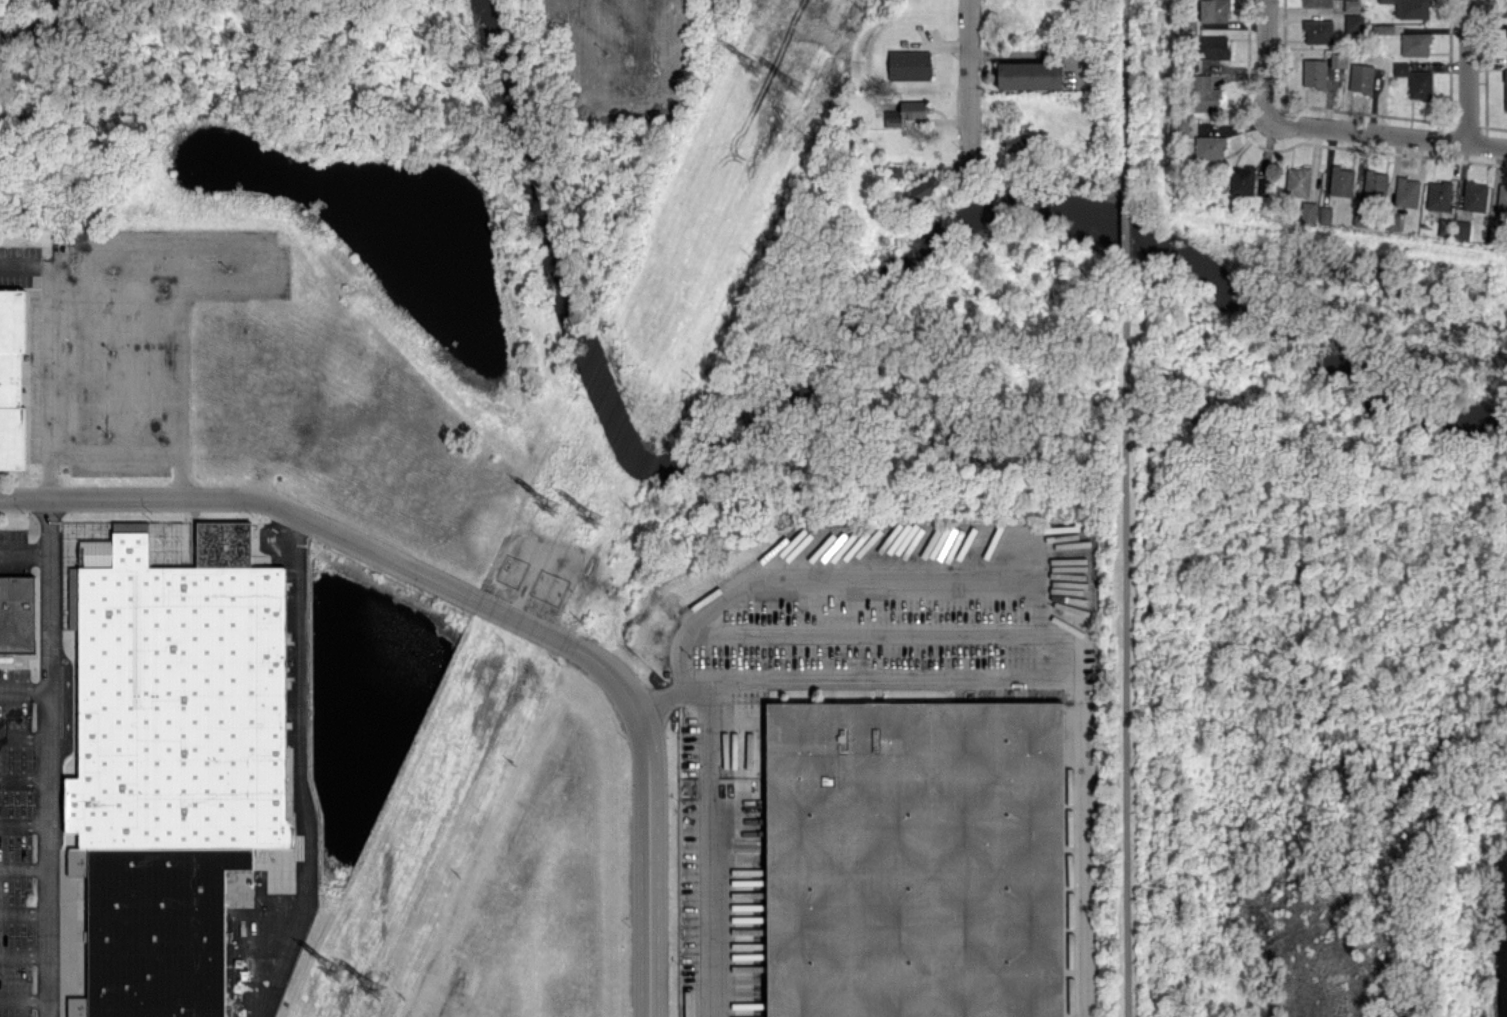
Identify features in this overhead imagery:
building: (1386, 1)
building: (1316, 3)
building: (1352, 5)
building: (1412, 8)
building: (1214, 10)
river: (65, 21)
building: (1353, 23)
building: (1383, 28)
building: (1318, 30)
building: (1415, 43)
building: (1214, 46)
building: (1337, 58)
road: (1266, 59)
power tower: (755, 64)
building: (909, 64)
road: (1468, 72)
building: (1314, 73)
building: (1030, 74)
building: (1361, 77)
building: (1415, 80)
power tower: (801, 86)
road: (969, 86)
building: (1505, 89)
building: (1203, 93)
road: (1127, 102)
building: (913, 109)
building: (892, 115)
building: (1179, 125)
road: (1387, 134)
building: (1209, 147)
building: (1242, 179)
building: (1297, 180)
building: (1341, 181)
building: (1375, 183)
building: (924, 188)
building: (1406, 191)
building: (1438, 195)
building: (1474, 196)
building: (1502, 199)
building: (1308, 211)
building: (1325, 214)
building: (1360, 218)
building: (1445, 227)
building: (1461, 229)
road: (1127, 230)
building: (1495, 233)
road: (180, 286)
river: (854, 322)
building: (10, 377)
road: (48, 381)
power tower: (548, 505)
power tower: (599, 519)
road: (24, 559)
road: (1024, 581)
building: (74, 597)
road: (480, 604)
building: (17, 613)
road: (876, 626)
road: (1128, 636)
road: (1045, 651)
road: (879, 674)
road: (24, 693)
road: (24, 737)
road: (48, 758)
building: (173, 760)
road: (298, 772)
road: (24, 779)
road: (24, 825)
road: (709, 845)
building: (916, 858)
road: (24, 867)
road: (24, 913)
road: (24, 955)
power tower: (330, 971)
power tower: (380, 990)
road: (24, 998)

